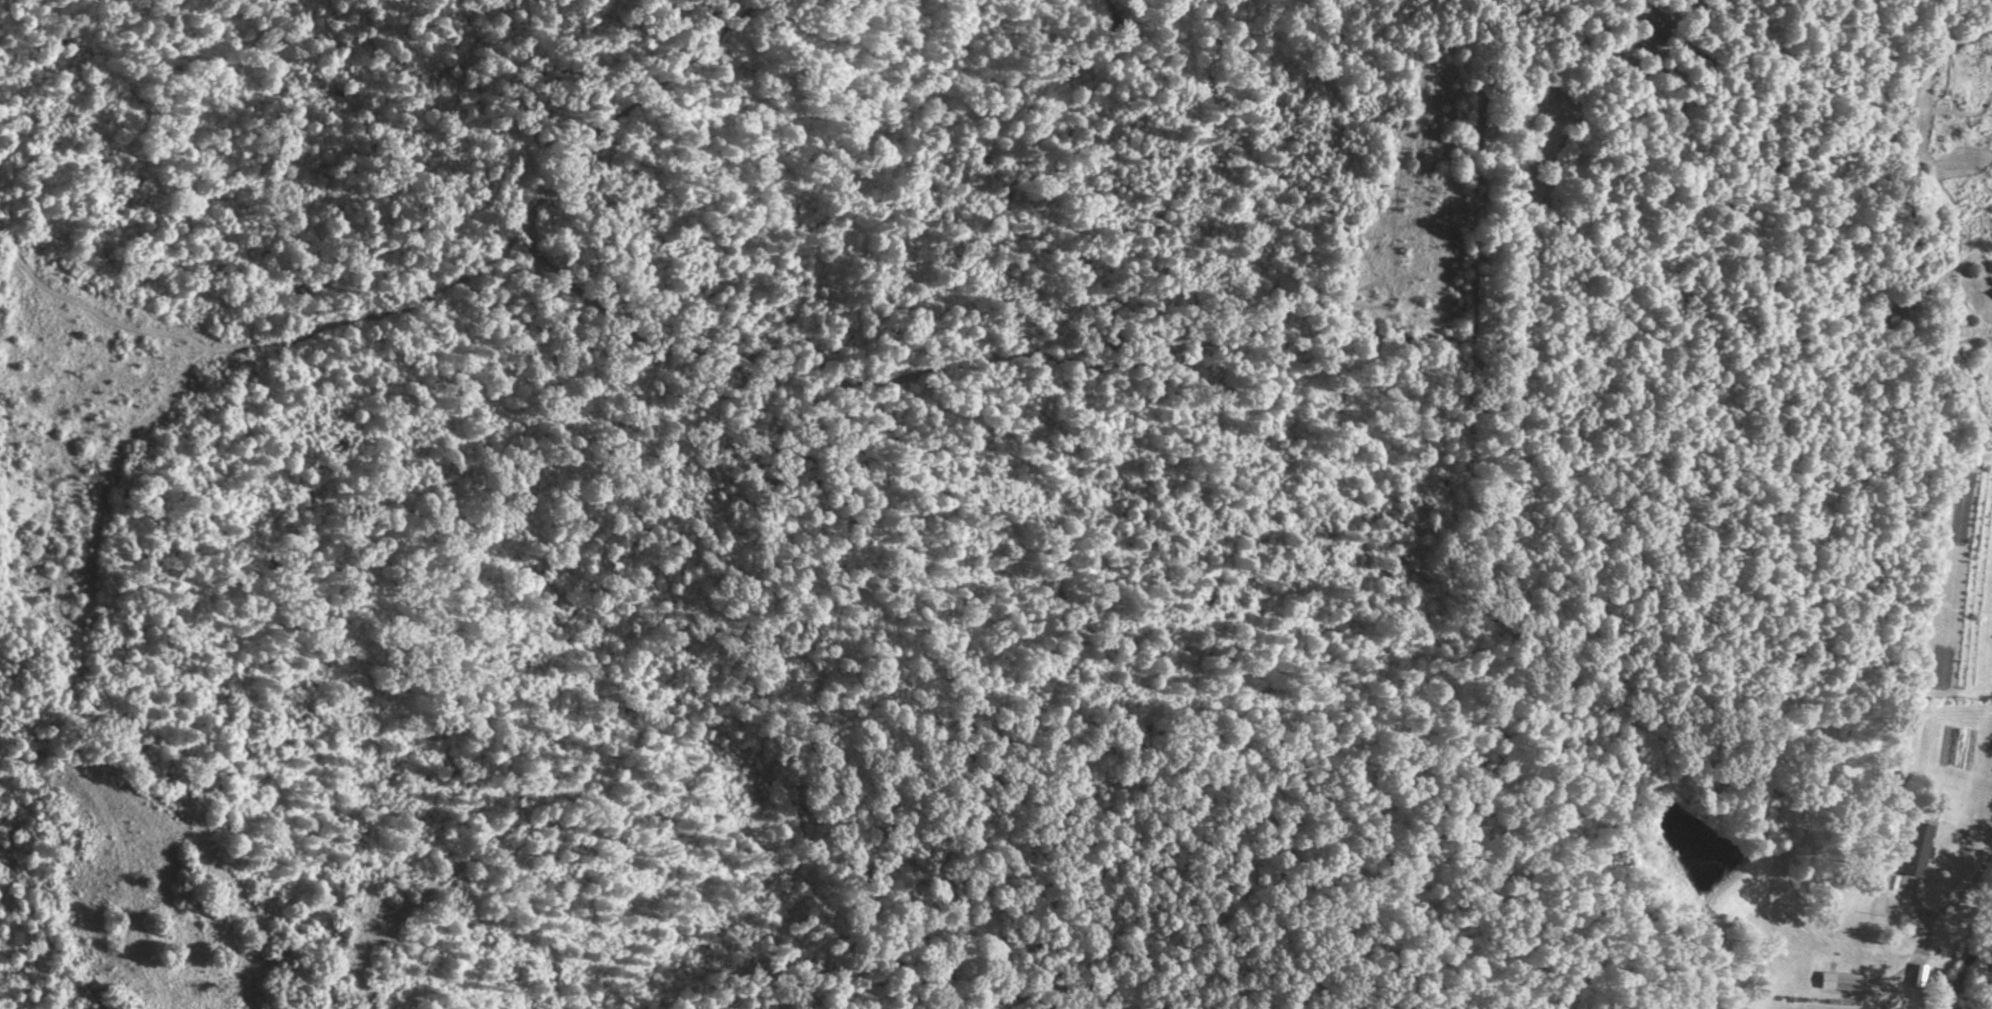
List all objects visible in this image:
building: (1912, 849)
road: (1942, 902)
building: (1839, 981)

